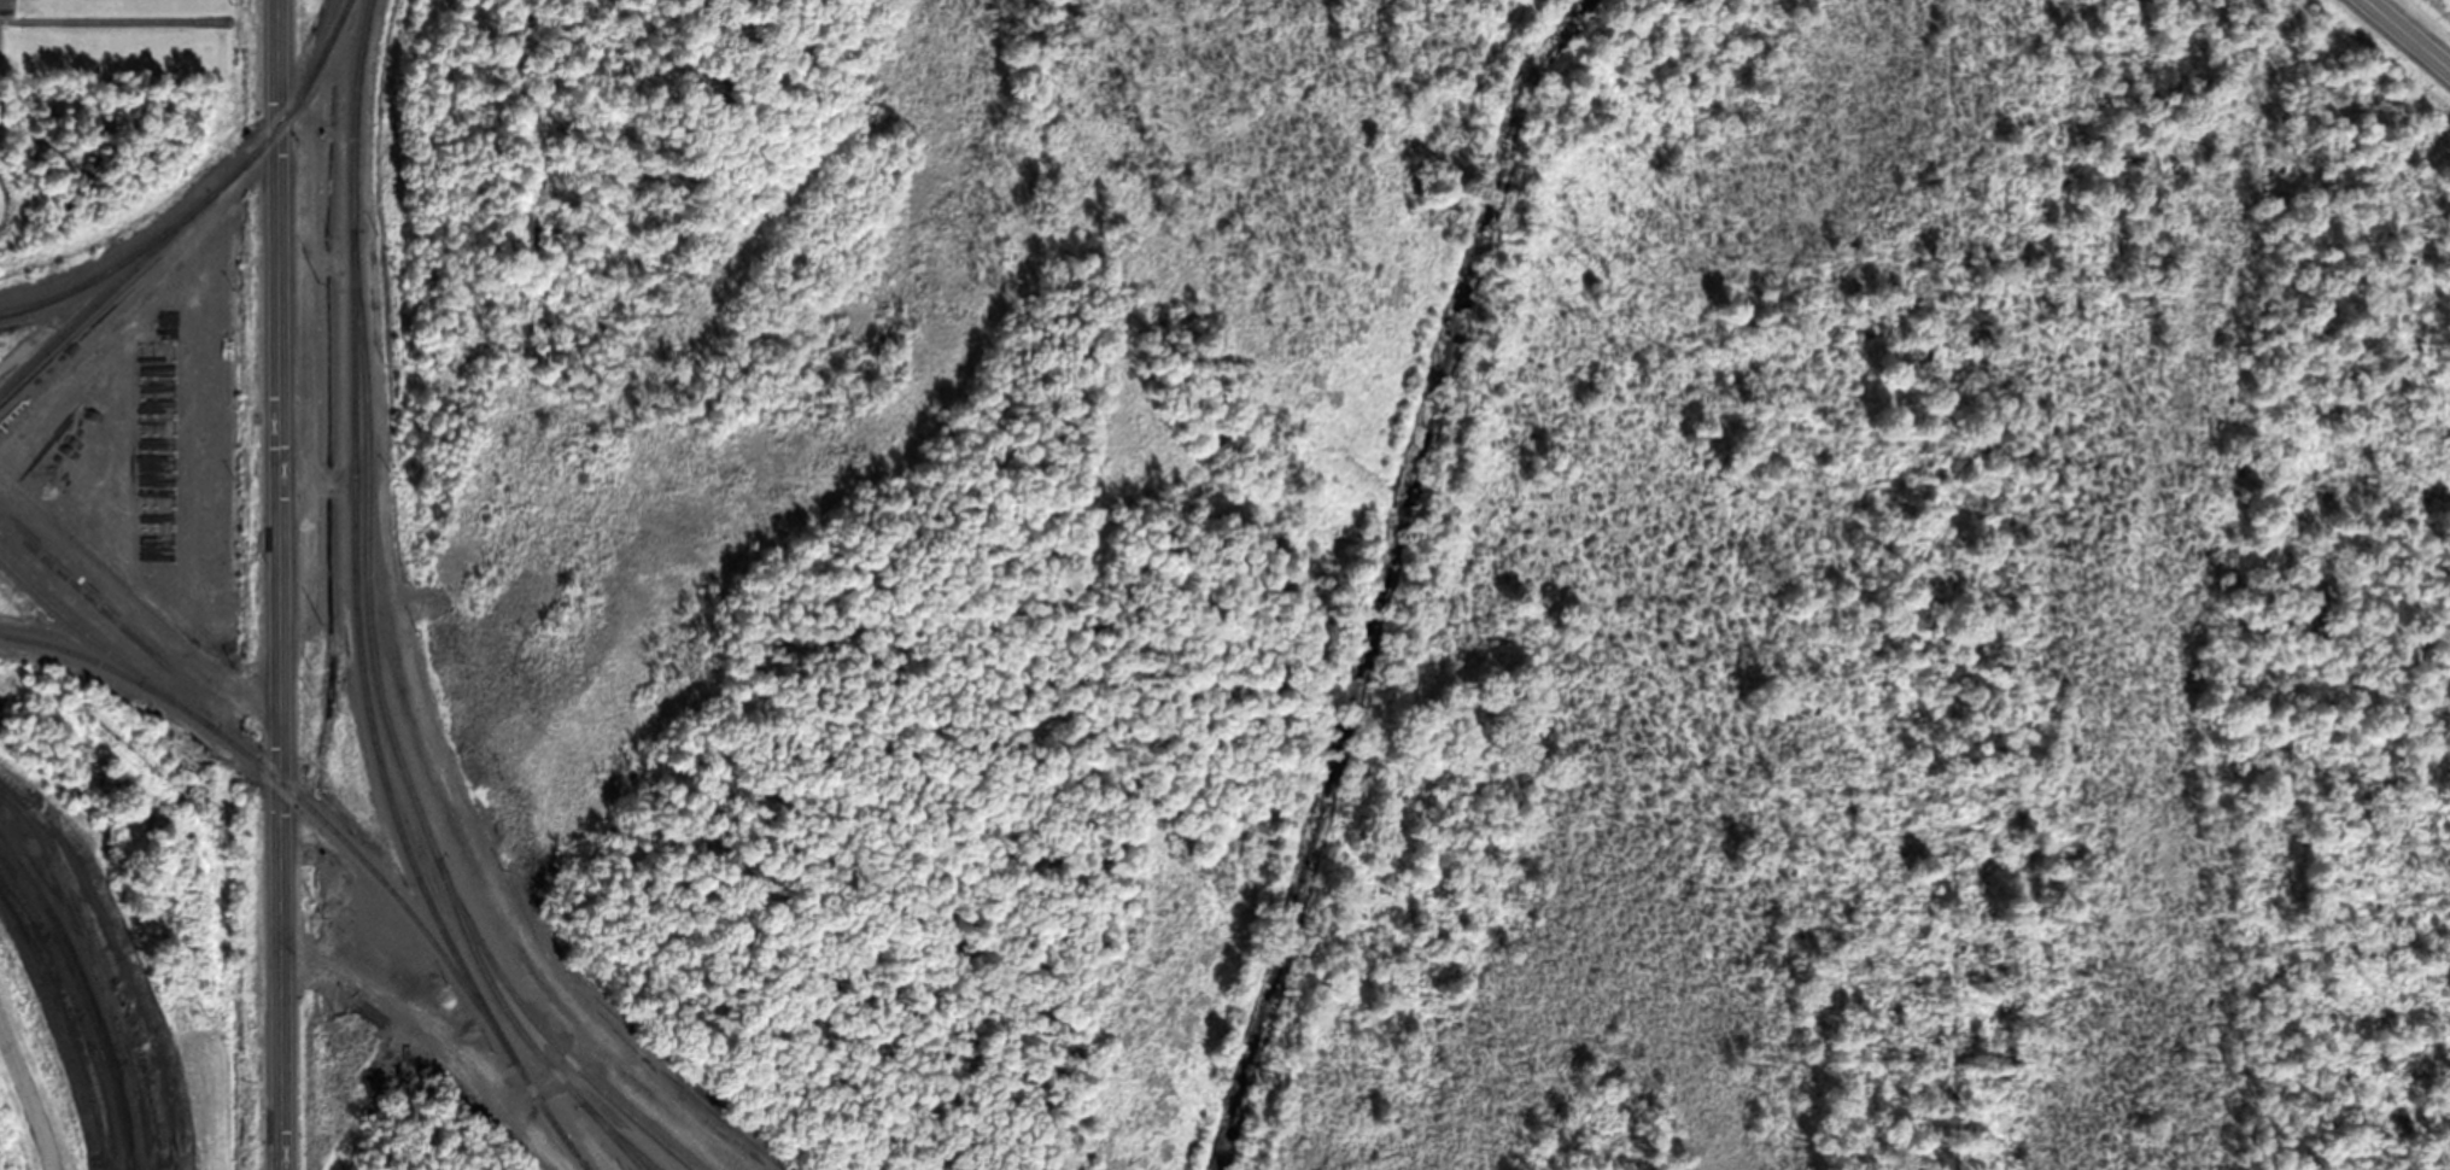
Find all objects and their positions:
railway: (97, 21)
road: (2409, 33)
road: (276, 64)
railway: (192, 211)
railway: (111, 268)
road: (277, 454)
railway: (352, 543)
railway: (101, 645)
railway: (110, 667)
railway: (393, 737)
railway: (467, 858)
railway: (378, 874)
road: (277, 975)
railway: (546, 1115)
road: (625, 1121)
railway: (620, 1137)

